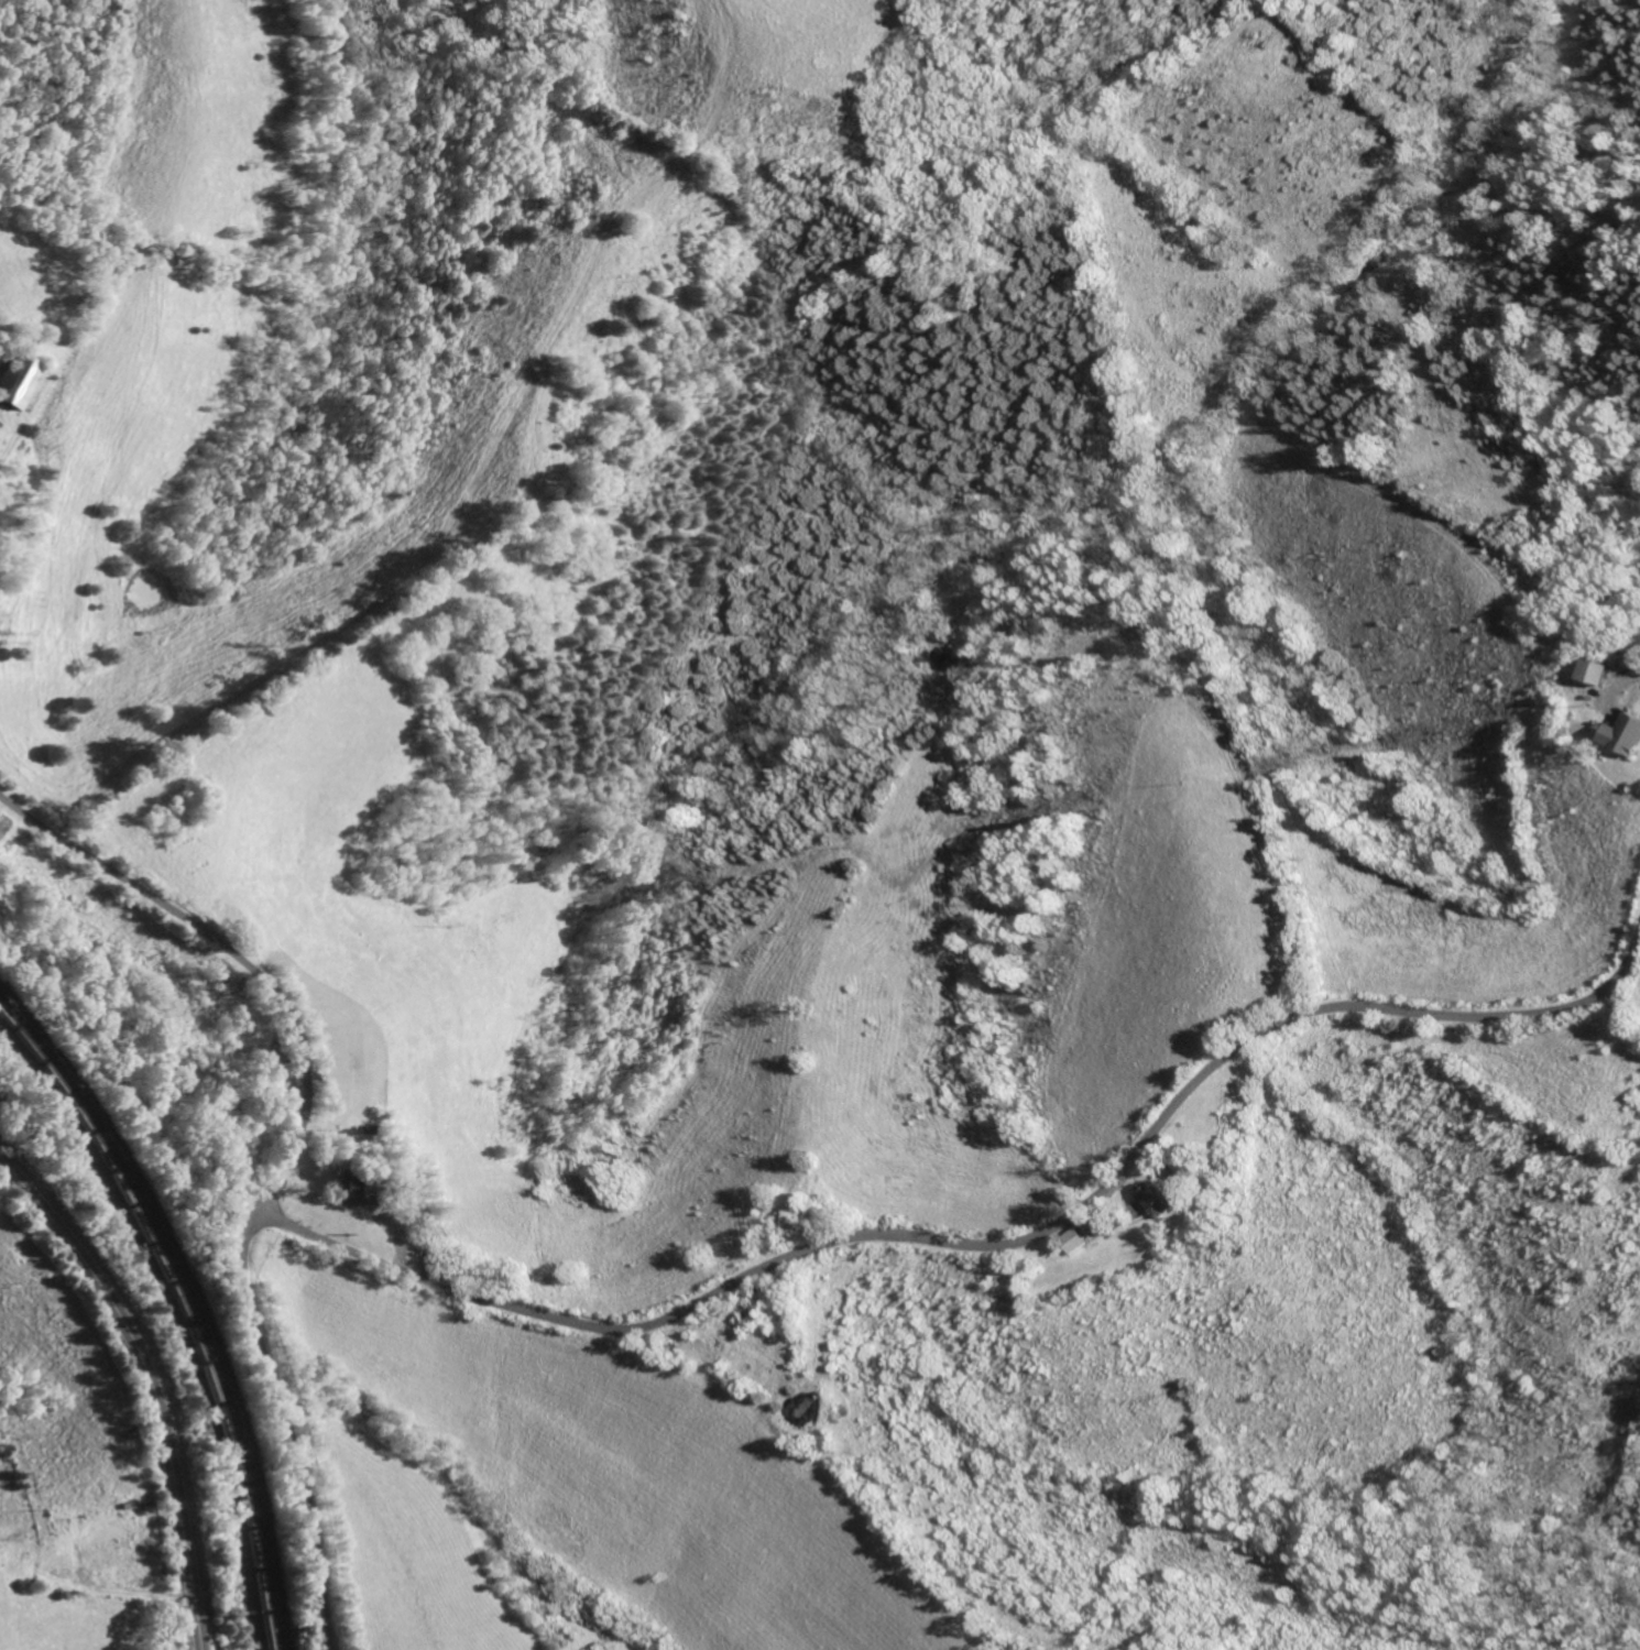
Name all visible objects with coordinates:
building: (15, 384)
building: (1623, 733)
road: (233, 959)
building: (1158, 1198)
road: (992, 1244)
railway: (194, 1301)
railway: (186, 1310)
road: (149, 1379)
road: (282, 1427)

